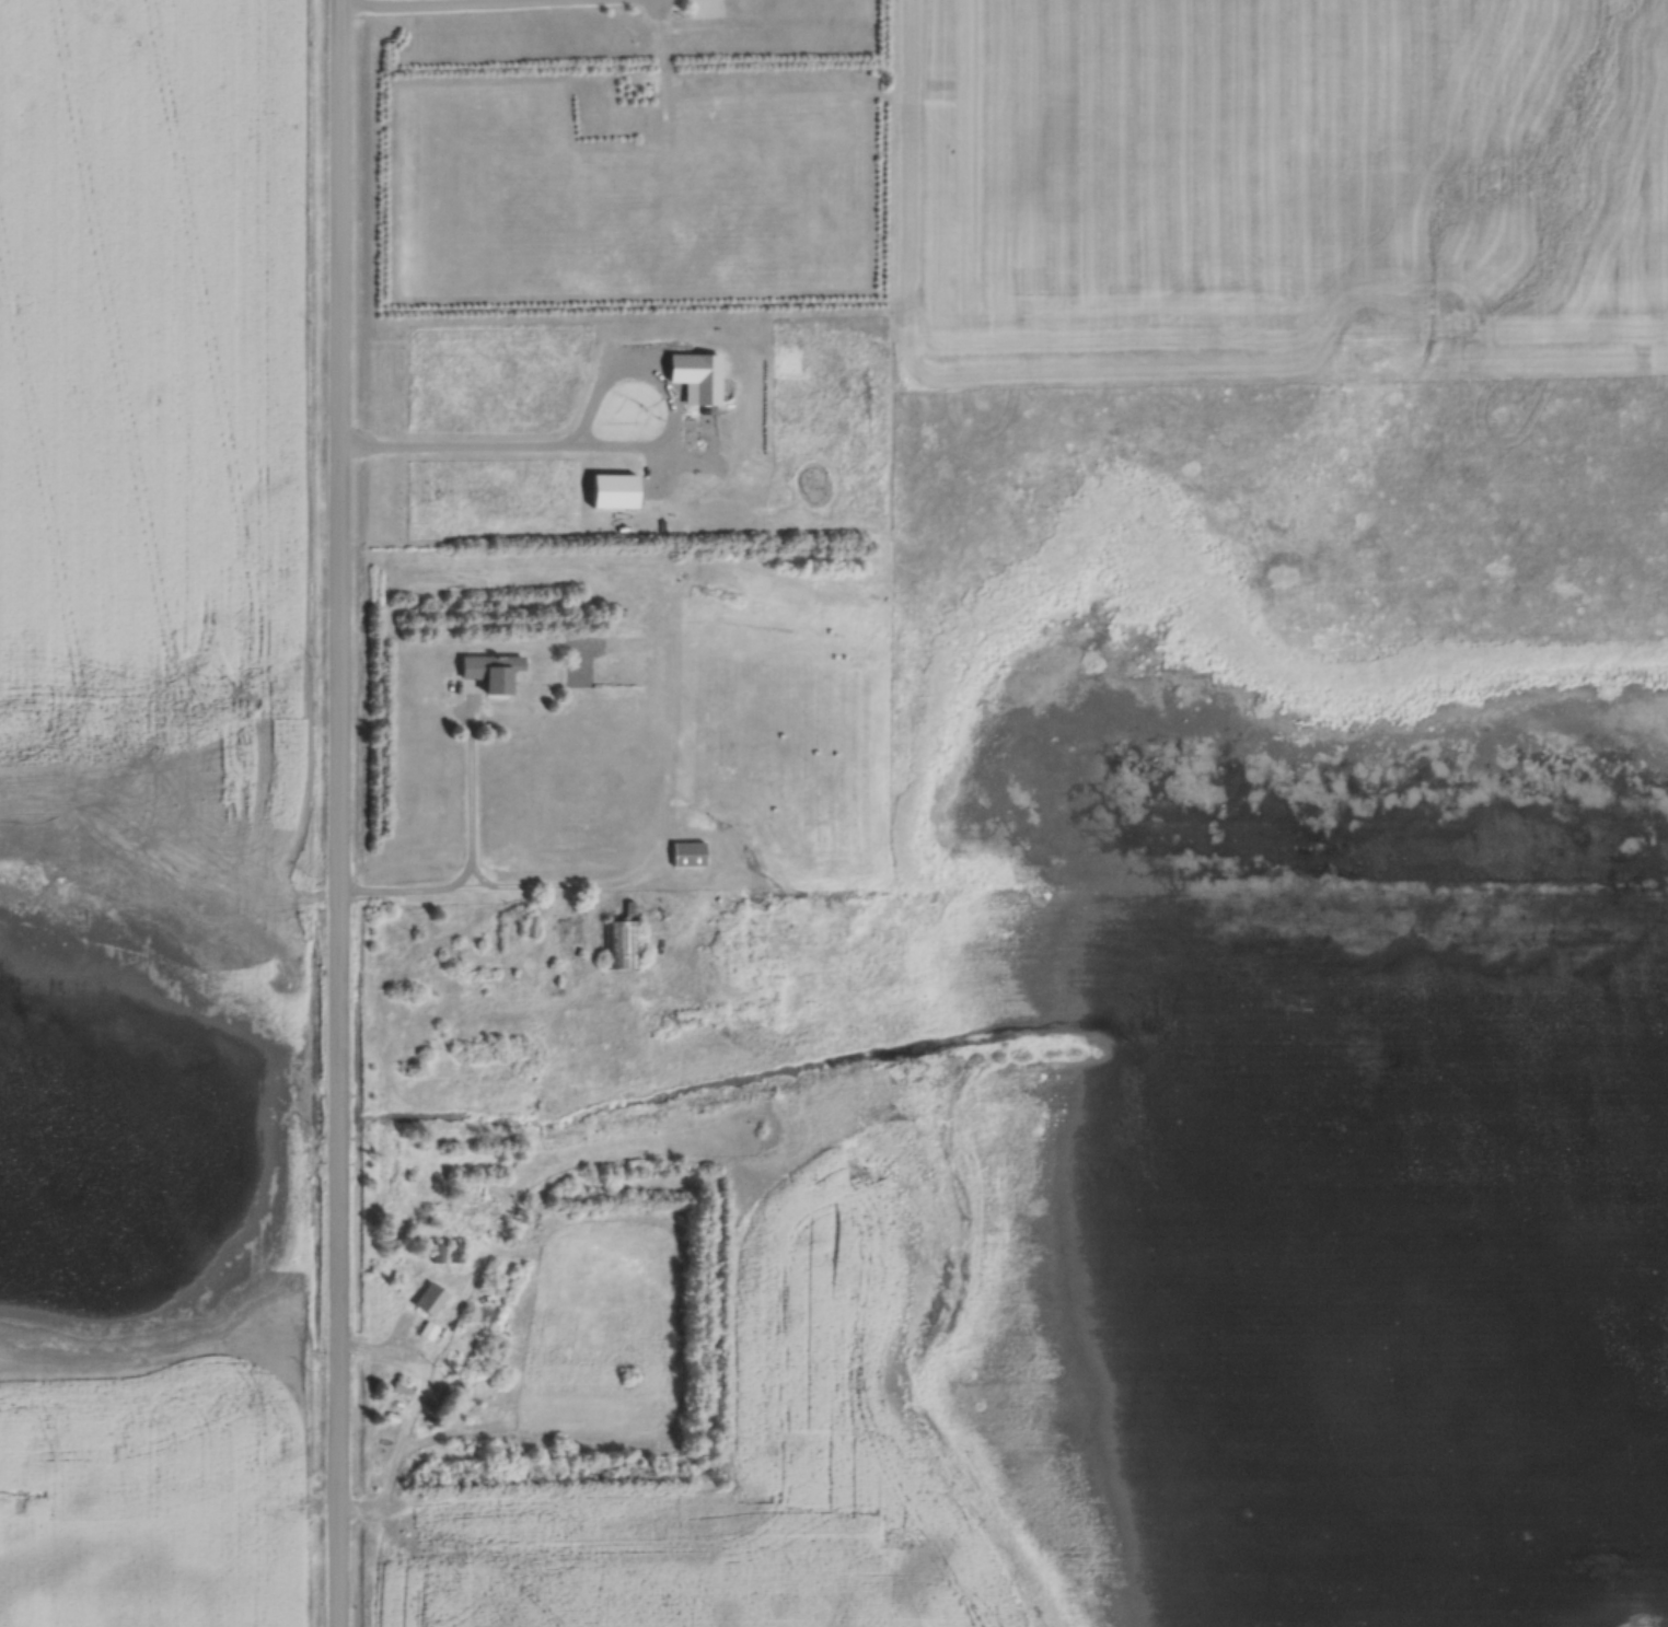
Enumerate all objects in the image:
building: (488, 671)
road: (336, 813)
building: (684, 853)
building: (615, 943)
building: (427, 1298)
building: (424, 1329)

